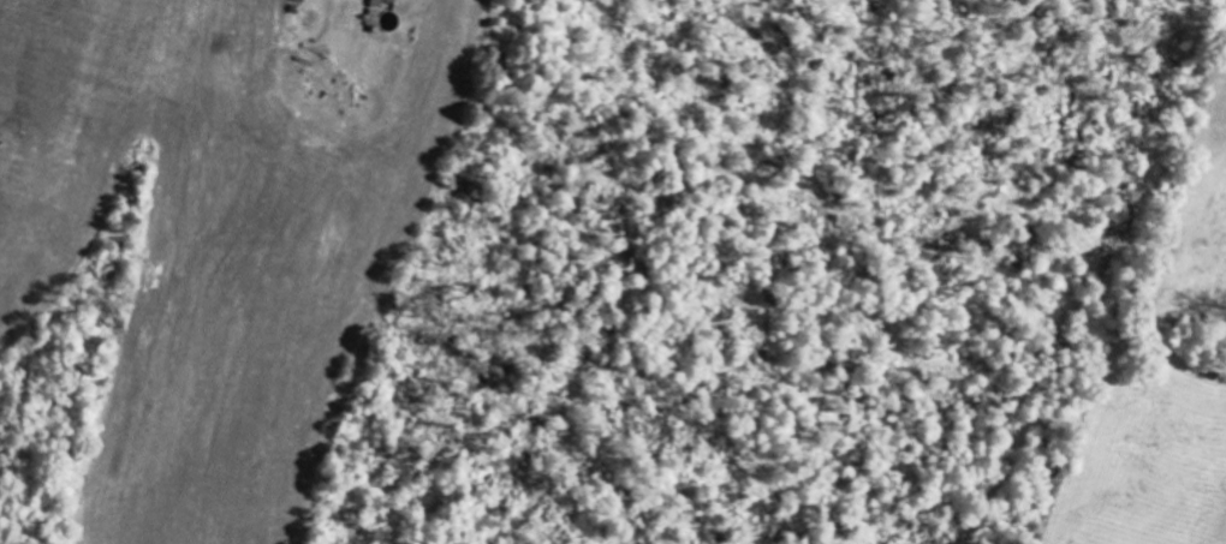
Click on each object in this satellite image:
building: (380, 2)

